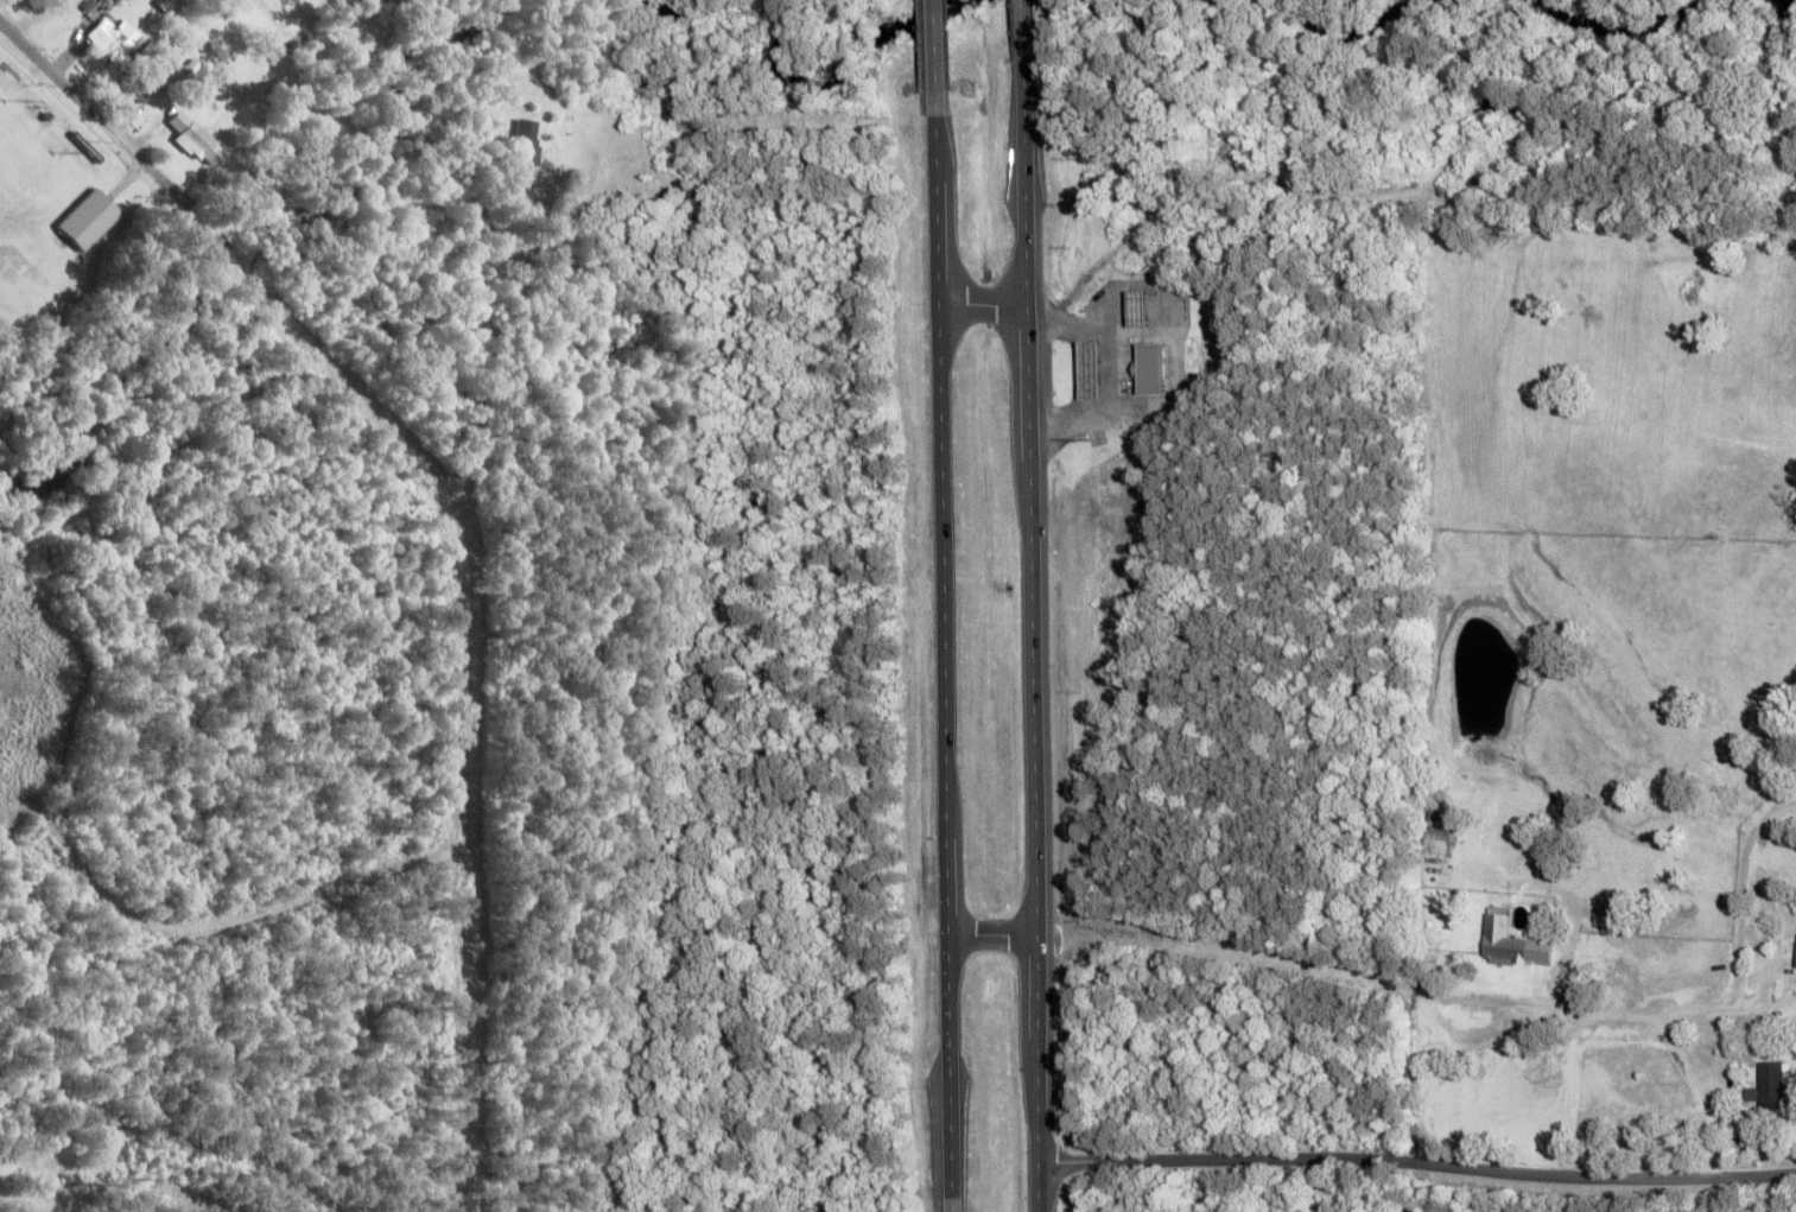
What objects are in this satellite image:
building: (166, 6)
river: (672, 8)
river: (1362, 33)
river: (1630, 33)
road: (1023, 37)
building: (108, 38)
road: (937, 58)
river: (839, 66)
building: (137, 83)
road: (91, 107)
building: (192, 141)
building: (519, 154)
building: (808, 164)
road: (1269, 195)
building: (88, 218)
river: (241, 228)
road: (322, 275)
road: (984, 307)
building: (1144, 309)
gas station: (1144, 309)
building: (1132, 335)
building: (1150, 369)
building: (1096, 370)
gas station: (1096, 370)
road: (1176, 370)
road: (1032, 642)
road: (946, 664)
road: (477, 696)
building: (1435, 831)
road: (234, 914)
building: (1499, 940)
building: (1794, 951)
road: (1340, 975)
building: (1766, 1083)
road: (1417, 1161)

